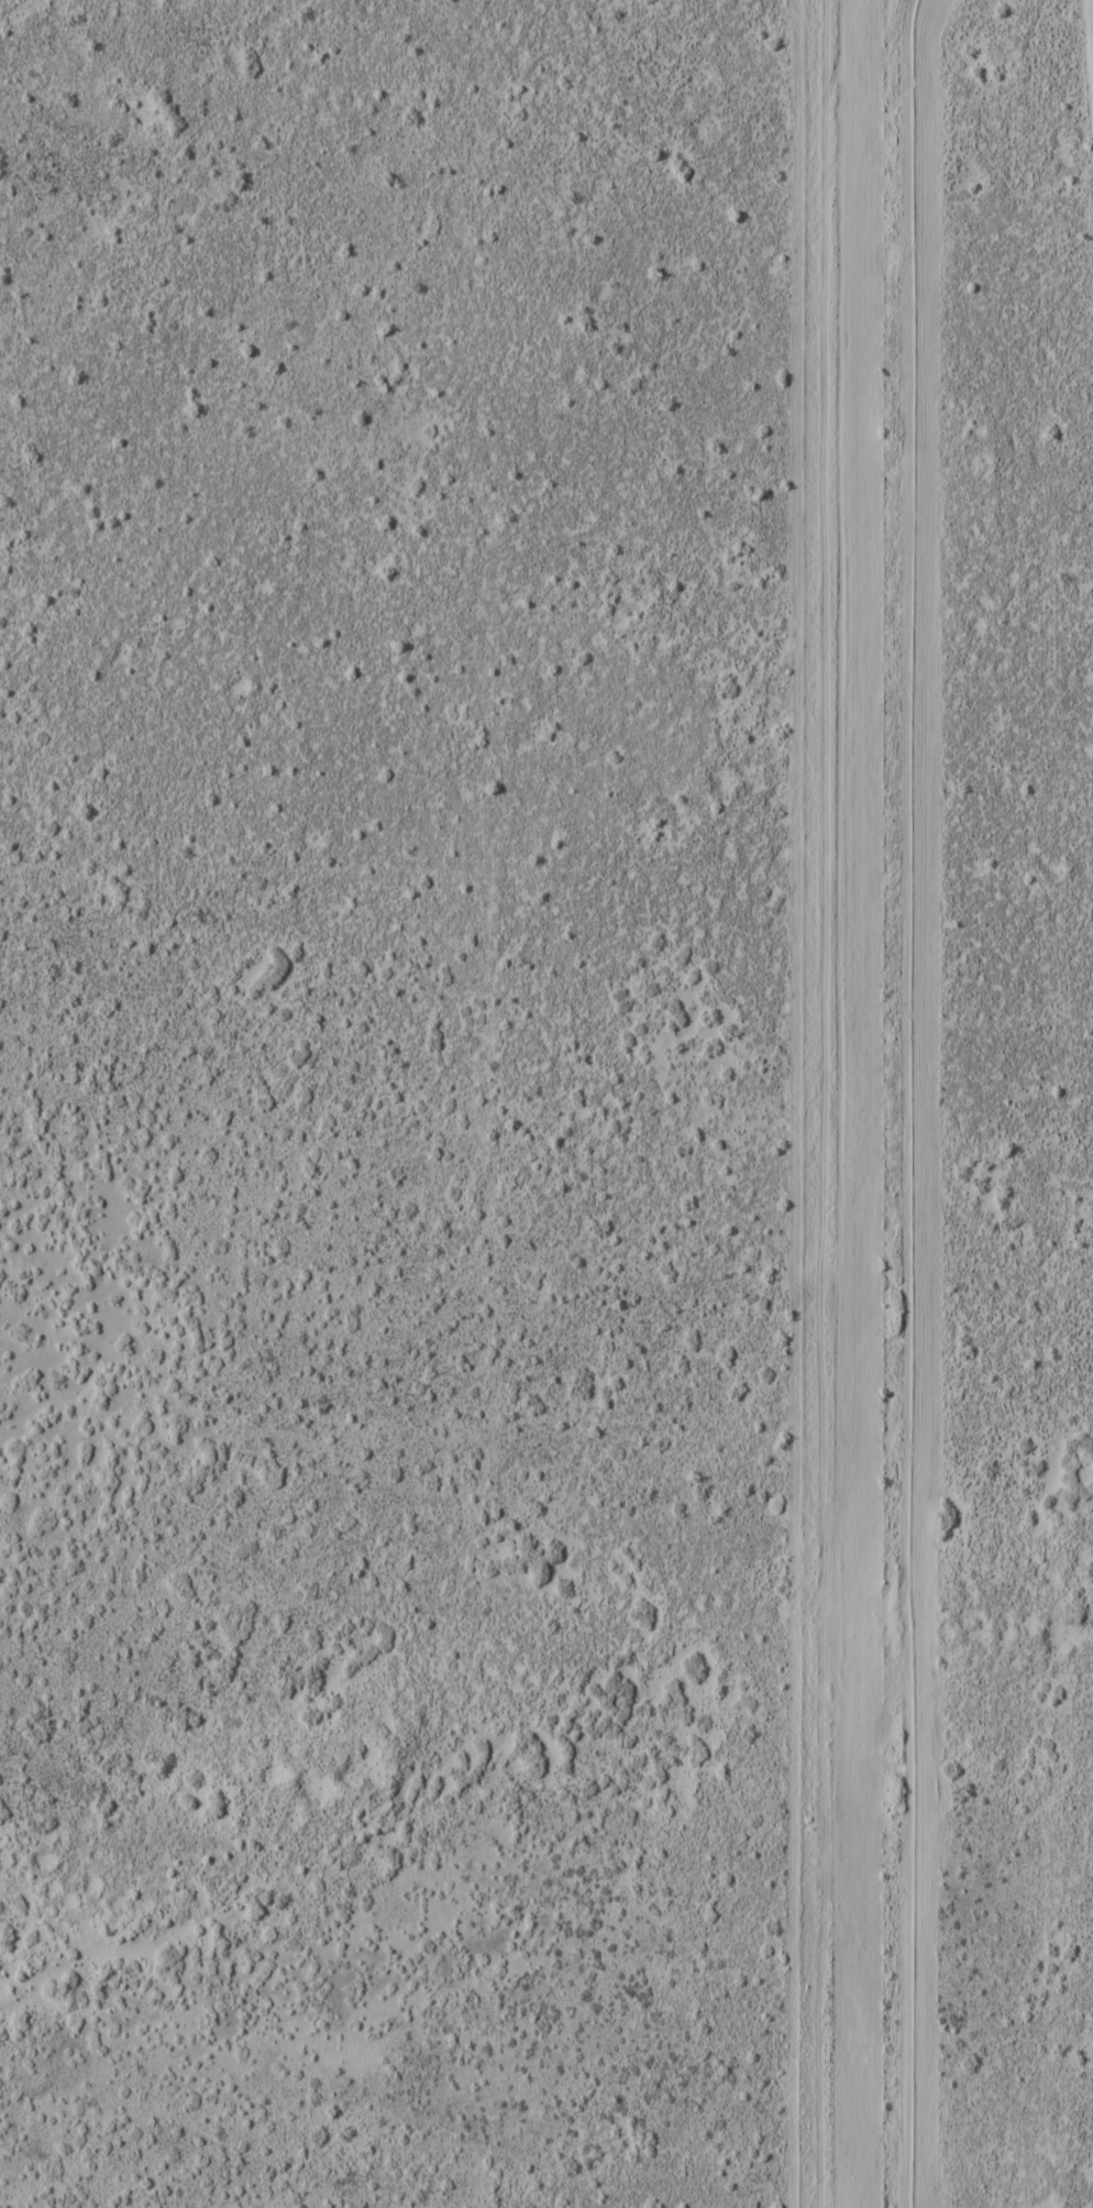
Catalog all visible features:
road: (1088, 88)
road: (848, 2032)

